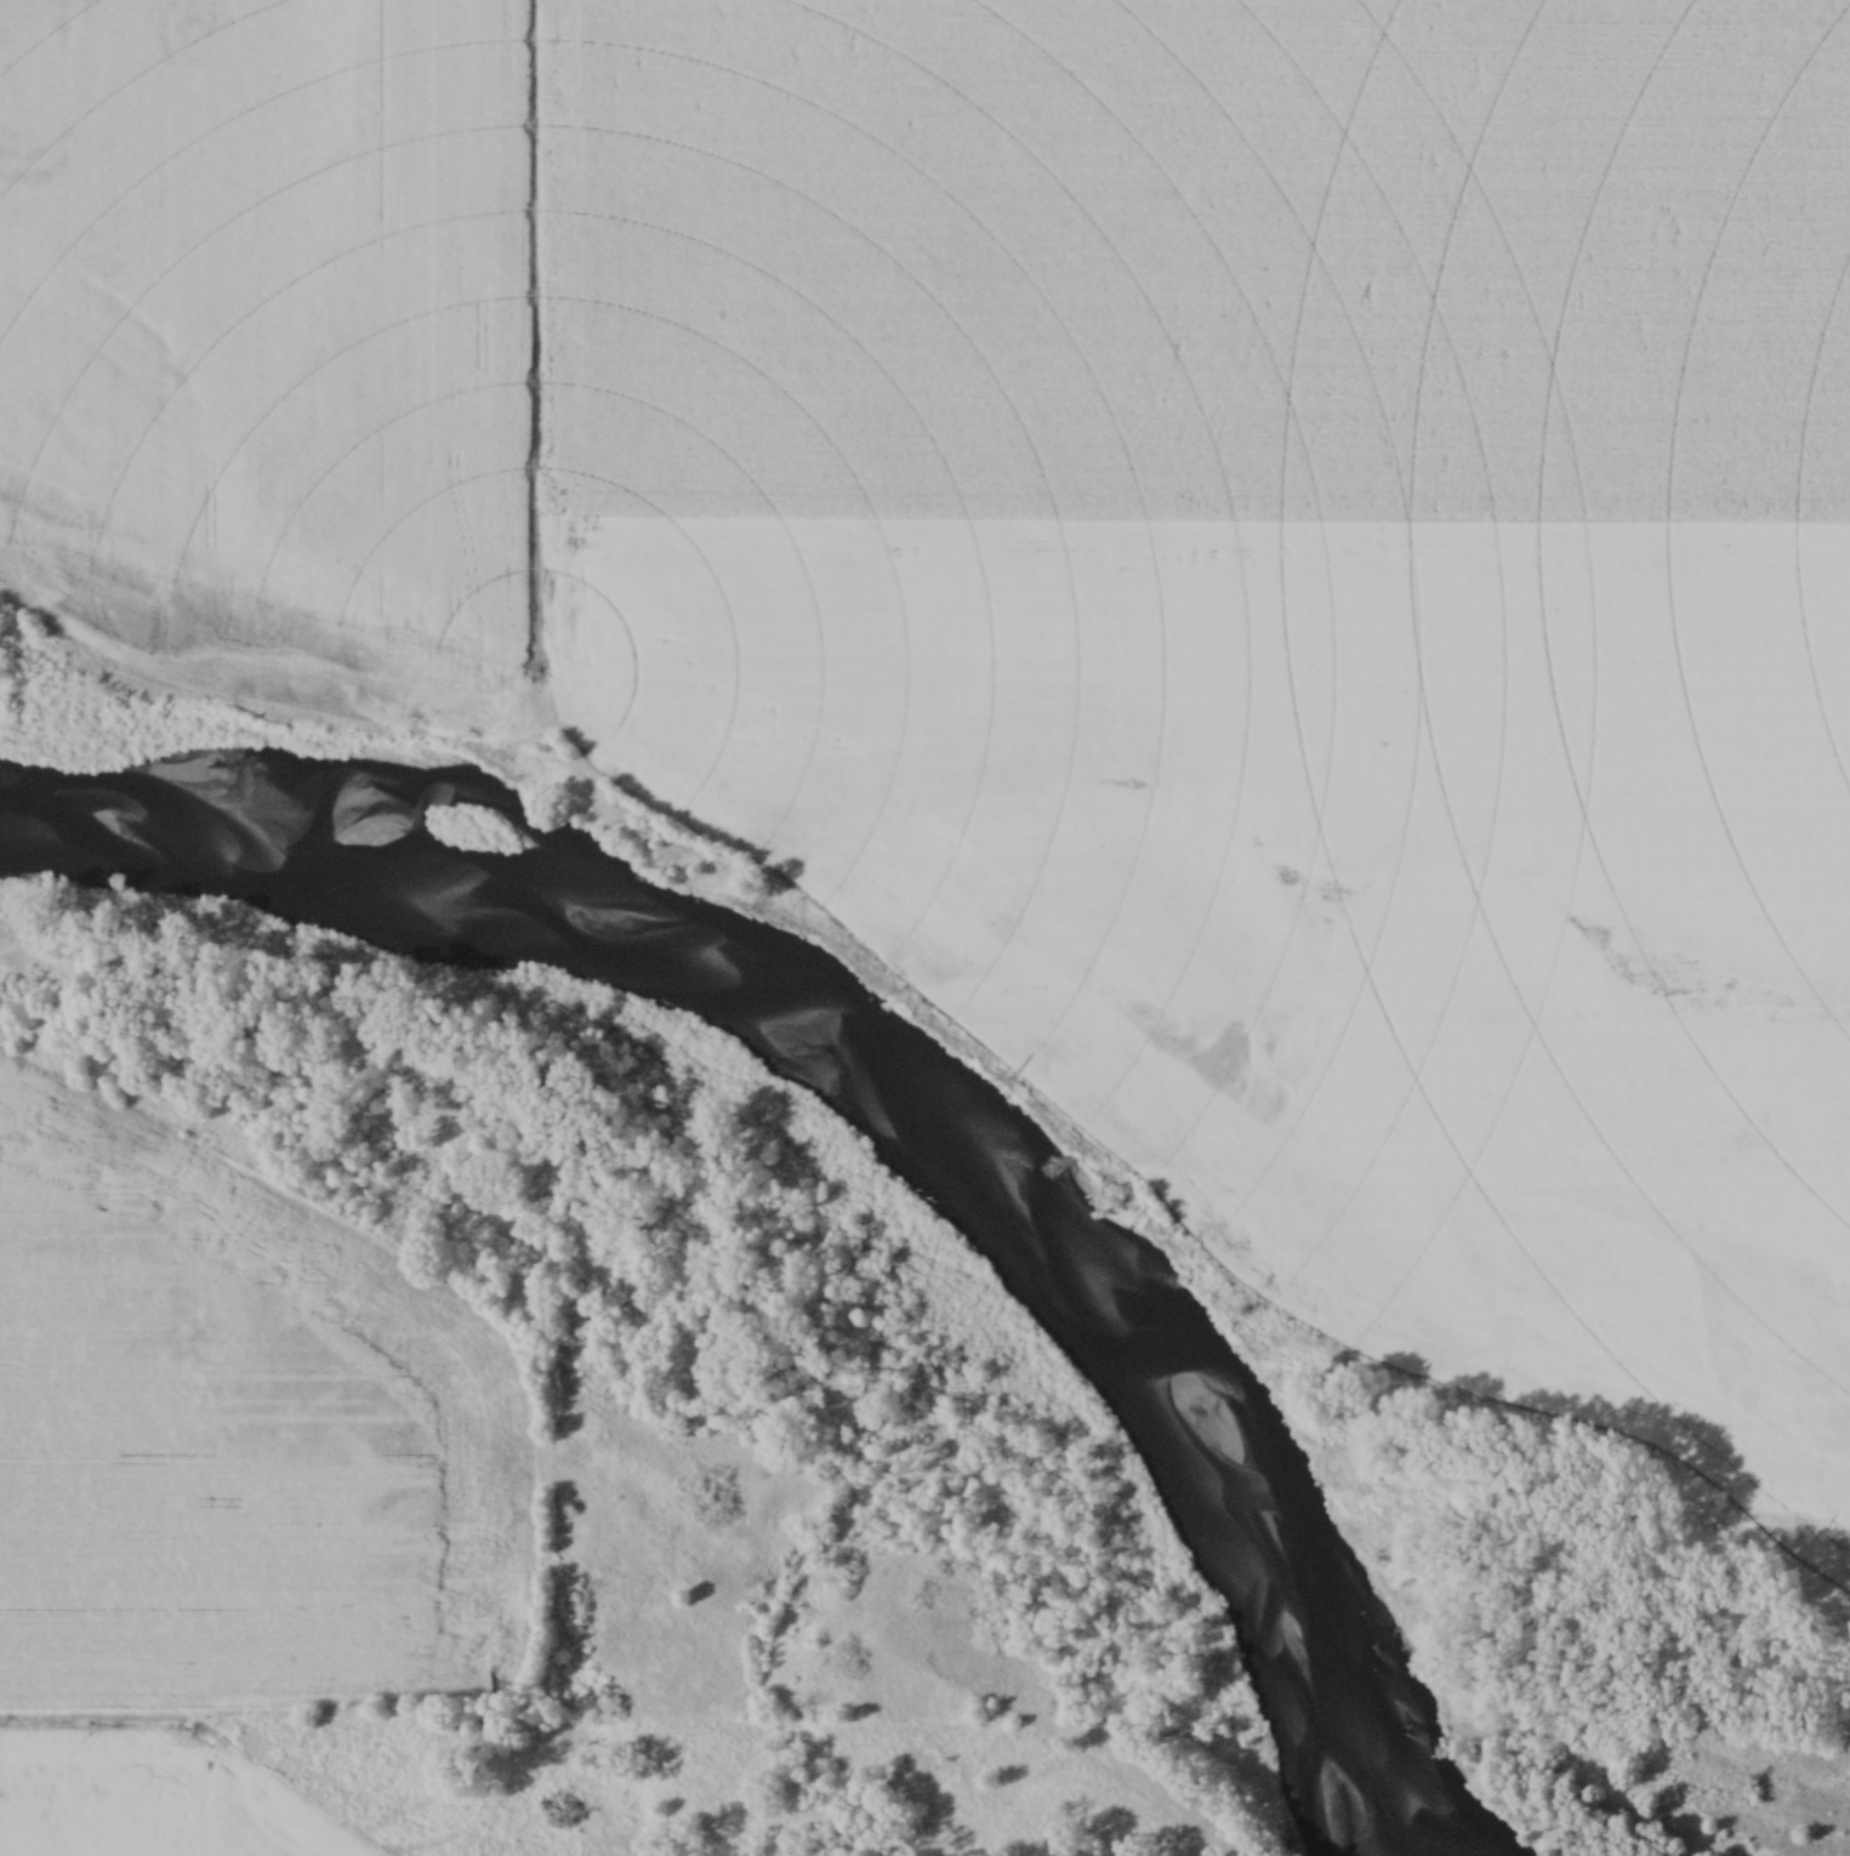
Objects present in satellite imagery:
river: (905, 1065)

